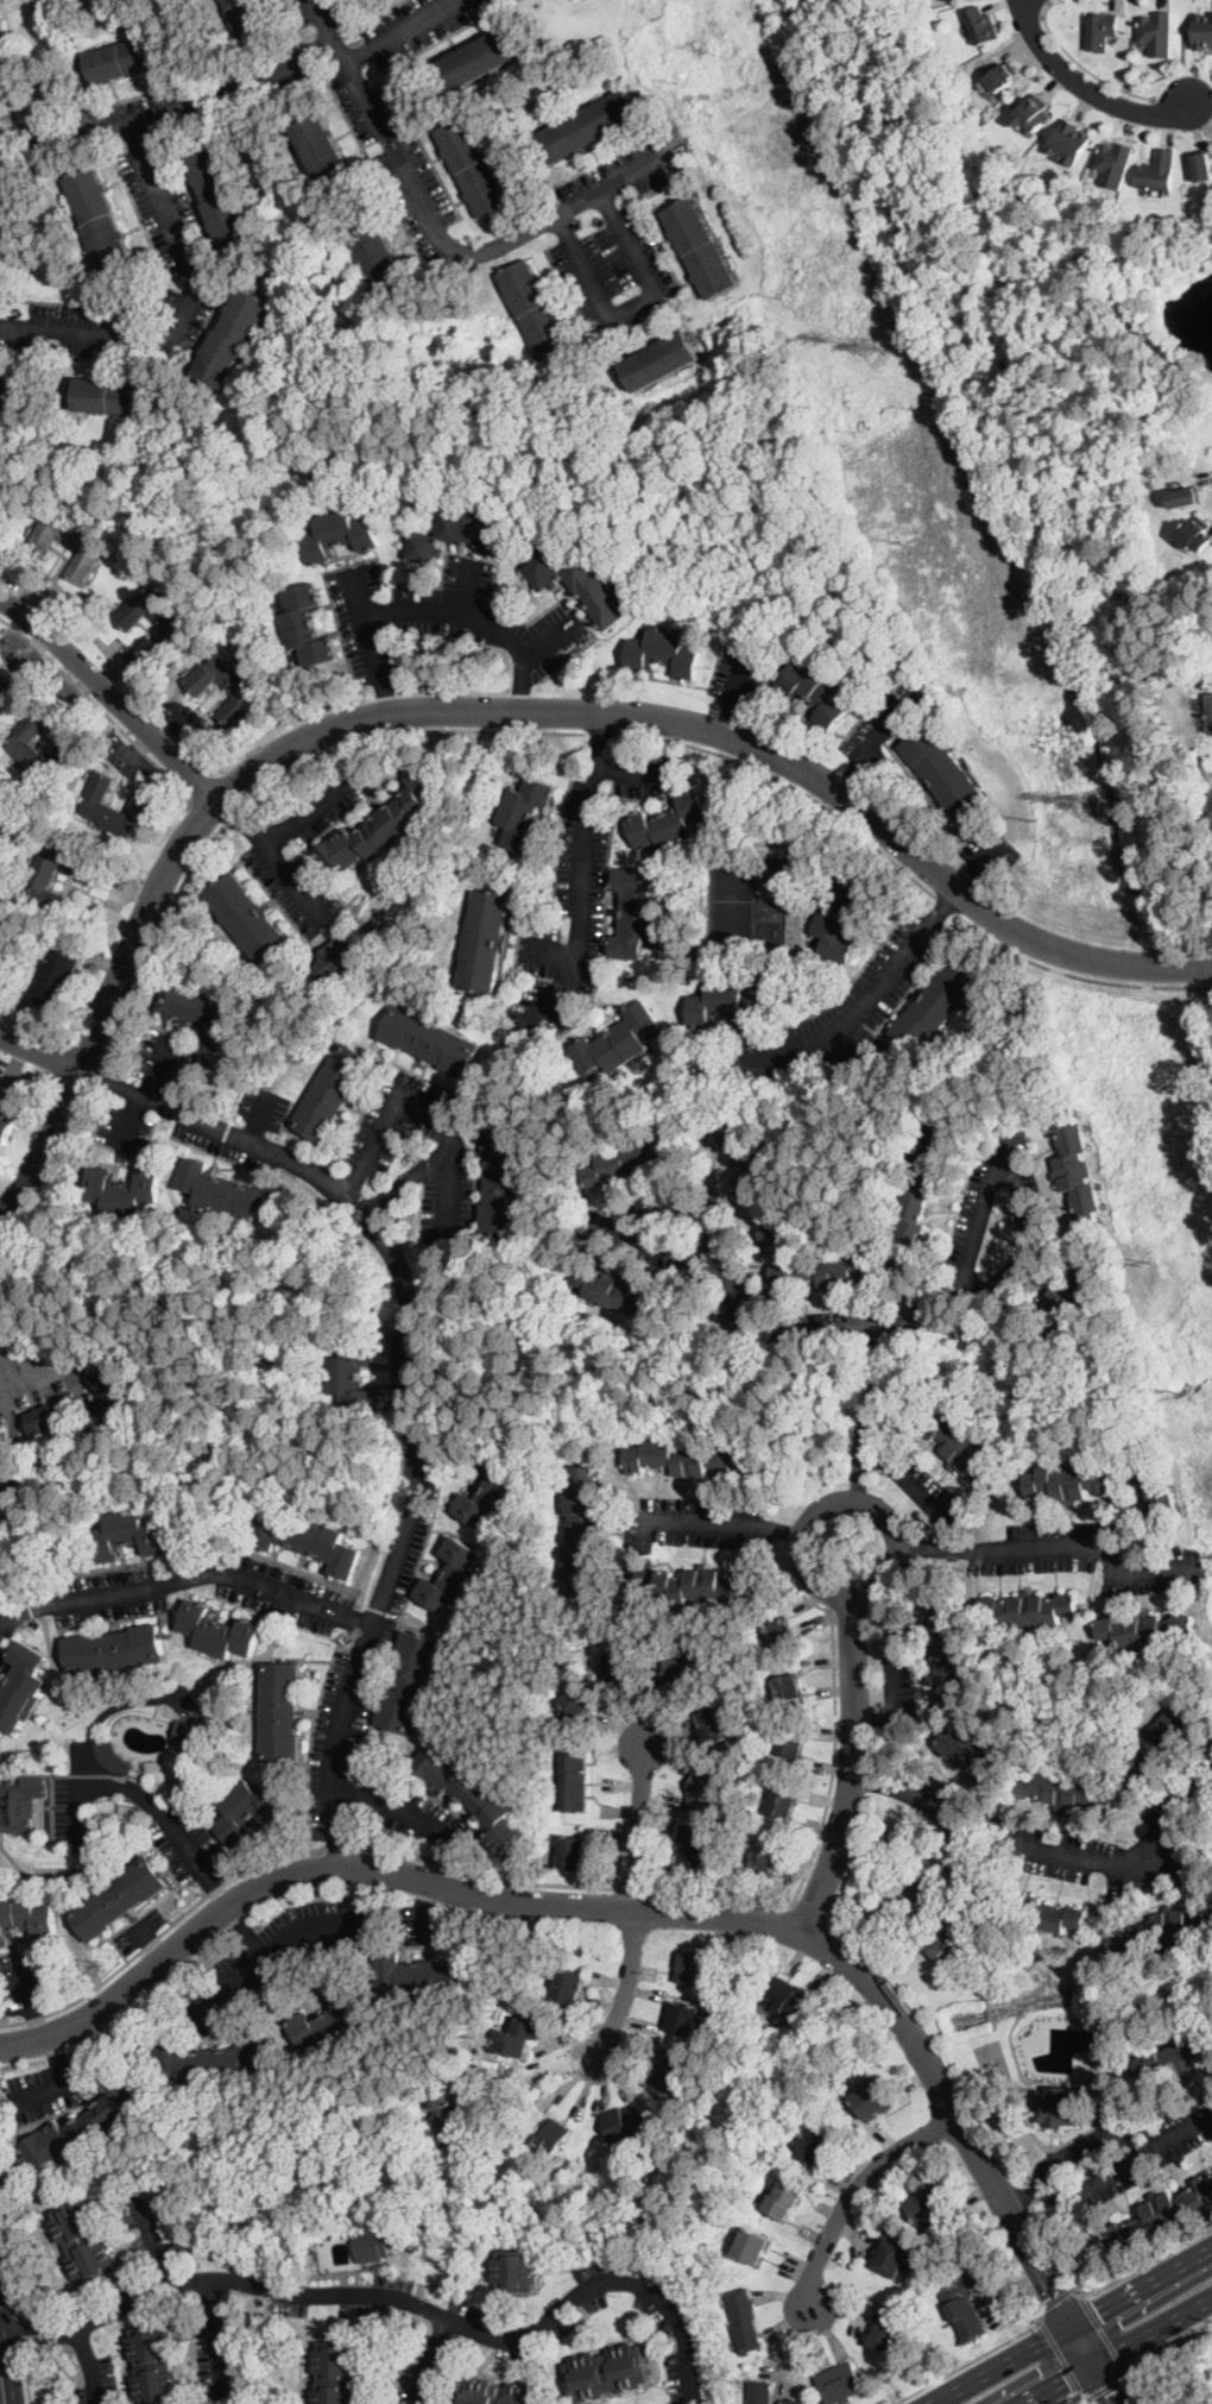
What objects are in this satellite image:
road: (1047, 4)
parking lot: (308, 11)
building: (247, 18)
parking lot: (417, 25)
building: (981, 26)
building: (1100, 32)
building: (1202, 32)
road: (405, 33)
building: (1157, 34)
building: (1, 49)
building: (480, 58)
building: (124, 59)
road: (1081, 67)
building: (1002, 77)
power tower: (680, 83)
road: (1085, 88)
road: (171, 113)
building: (1034, 115)
building: (589, 126)
building: (1071, 143)
building: (322, 146)
parking lot: (397, 158)
building: (1113, 164)
building: (1202, 166)
building: (474, 168)
parking lot: (621, 172)
building: (1159, 174)
building: (221, 196)
parking lot: (169, 215)
building: (99, 219)
road: (437, 233)
building: (700, 247)
building: (380, 256)
parking lot: (614, 273)
power tower: (785, 298)
road: (184, 303)
building: (536, 310)
road: (635, 310)
building: (233, 338)
power tower: (872, 345)
building: (662, 361)
building: (7, 389)
building: (114, 396)
power tower: (878, 498)
building: (1185, 498)
building: (2, 505)
building: (1195, 534)
building: (340, 535)
building: (461, 536)
building: (89, 548)
building: (582, 587)
road: (467, 590)
road: (362, 596)
road: (418, 615)
parking lot: (444, 619)
building: (307, 625)
building: (179, 629)
road: (548, 640)
building: (664, 653)
building: (428, 675)
parking lot: (741, 675)
road: (740, 676)
road: (522, 685)
building: (7, 690)
building: (816, 691)
road: (112, 694)
building: (244, 694)
road: (381, 701)
road: (96, 705)
road: (498, 712)
building: (1210, 712)
road: (727, 718)
parking lot: (882, 725)
road: (600, 731)
road: (870, 741)
building: (25, 751)
road: (631, 769)
building: (945, 772)
road: (267, 783)
road: (788, 785)
building: (141, 804)
road: (309, 804)
power tower: (1093, 807)
road: (206, 810)
building: (524, 812)
road: (241, 818)
building: (670, 822)
power tower: (1036, 823)
building: (381, 827)
parking lot: (989, 851)
parking lot: (261, 852)
road: (978, 867)
building: (51, 875)
road: (583, 876)
road: (295, 880)
parking lot: (580, 894)
park: (733, 899)
road: (946, 906)
building: (636, 913)
building: (840, 917)
building: (250, 921)
building: (0, 940)
building: (487, 940)
road: (553, 954)
building: (6, 964)
building: (333, 964)
building: (56, 973)
road: (1078, 975)
road: (873, 993)
building: (726, 1005)
building: (935, 1007)
parking lot: (838, 1018)
building: (202, 1024)
building: (430, 1040)
building: (618, 1043)
road: (850, 1043)
road: (40, 1055)
road: (99, 1078)
building: (333, 1091)
building: (0, 1095)
road: (147, 1095)
parking lot: (189, 1108)
road: (442, 1115)
road: (259, 1116)
building: (6, 1124)
parking lot: (417, 1154)
building: (631, 1160)
building: (1077, 1170)
road: (55, 1175)
building: (504, 1182)
road: (408, 1184)
road: (351, 1185)
building: (756, 1185)
building: (923, 1187)
building: (124, 1190)
building: (231, 1191)
road: (697, 1206)
parking lot: (972, 1214)
parking lot: (678, 1236)
power tower: (1143, 1260)
building: (838, 1270)
road: (981, 1285)
building: (1077, 1285)
building: (616, 1292)
parking lot: (840, 1324)
road: (897, 1334)
parking lot: (410, 1370)
road: (5, 1371)
building: (354, 1376)
road: (416, 1379)
building: (114, 1393)
building: (53, 1416)
road: (869, 1416)
road: (872, 1452)
building: (966, 1452)
building: (692, 1459)
building: (1069, 1483)
parking lot: (920, 1485)
building: (492, 1492)
road: (845, 1499)
road: (924, 1499)
building: (1160, 1503)
road: (676, 1524)
road: (795, 1530)
parking lot: (687, 1531)
building: (581, 1533)
building: (130, 1535)
building: (309, 1540)
road: (1050, 1549)
parking lot: (1084, 1556)
building: (454, 1577)
road: (187, 1578)
building: (705, 1586)
parking lot: (286, 1594)
building: (27, 1596)
parking lot: (93, 1598)
building: (1029, 1610)
building: (1147, 1630)
building: (220, 1631)
building: (779, 1632)
building: (114, 1650)
parking lot: (2, 1656)
building: (951, 1659)
parking lot: (366, 1663)
road: (892, 1666)
building: (623, 1667)
parking lot: (897, 1669)
building: (680, 1673)
building: (410, 1682)
building: (21, 1687)
building: (787, 1687)
building: (581, 1700)
road: (115, 1708)
building: (280, 1712)
road: (876, 1717)
building: (717, 1724)
building: (185, 1735)
building: (1161, 1742)
building: (790, 1744)
building: (970, 1756)
road: (852, 1773)
building: (575, 1780)
road: (876, 1785)
building: (706, 1787)
road: (831, 1788)
road: (132, 1792)
building: (1066, 1792)
building: (469, 1795)
building: (21, 1802)
building: (781, 1805)
road: (398, 1808)
parking lot: (70, 1810)
building: (248, 1810)
parking lot: (419, 1815)
road: (640, 1827)
parking lot: (1062, 1840)
parking lot: (187, 1844)
road: (336, 1846)
building: (690, 1846)
building: (573, 1854)
road: (1068, 1854)
building: (763, 1861)
road: (942, 1868)
road: (487, 1875)
building: (877, 1887)
road: (217, 1893)
building: (119, 1898)
road: (424, 1908)
road: (612, 1909)
building: (1053, 1915)
building: (26, 1919)
parking lot: (427, 1925)
parking lot: (140, 1930)
road: (245, 1930)
road: (159, 1931)
building: (1160, 1931)
building: (957, 1933)
road: (272, 1947)
parking lot: (274, 1953)
building: (695, 1969)
building: (431, 1971)
parking lot: (25, 1982)
building: (81, 1985)
road: (626, 1985)
building: (567, 1987)
road: (29, 2000)
building: (790, 2000)
building: (684, 2019)
building: (328, 2021)
building: (1110, 2033)
building: (516, 2038)
road: (55, 2047)
building: (991, 2059)
building: (1175, 2059)
building: (212, 2062)
road: (536, 2075)
building: (671, 2075)
road: (49, 2084)
parking lot: (44, 2089)
building: (871, 2100)
building: (1059, 2108)
building: (447, 2114)
building: (629, 2122)
building: (86, 2126)
building: (542, 2133)
road: (1096, 2135)
building: (819, 2146)
road: (1142, 2152)
parking lot: (1117, 2154)
road: (1039, 2177)
road: (1041, 2188)
road: (856, 2190)
building: (783, 2201)
building: (928, 2207)
building: (1160, 2216)
parking lot: (147, 2226)
building: (84, 2242)
building: (374, 2243)
road: (158, 2245)
road: (8, 2246)
building: (752, 2246)
building: (891, 2255)
road: (1141, 2264)
building: (517, 2271)
traffic signals: (1056, 2292)
road: (1056, 2296)
parking lot: (122, 2297)
parking lot: (379, 2303)
building: (964, 2307)
road: (1141, 2308)
traffic signals: (1096, 2309)
road: (436, 2312)
building: (745, 2321)
traffic signals: (1121, 2321)
road: (38, 2324)
road: (1068, 2324)
road: (1100, 2329)
building: (888, 2331)
parking lot: (534, 2333)
road: (21, 2339)
road: (217, 2339)
road: (1162, 2342)
road: (40, 2343)
road: (6, 2348)
road: (1060, 2354)
road: (1121, 2354)
road: (971, 2358)
road: (427, 2359)
road: (1091, 2362)
road: (90, 2364)
building: (154, 2365)
parking lot: (215, 2366)
traffic signals: (1041, 2371)
road: (1037, 2372)
building: (335, 2373)
building: (608, 2373)
parking lot: (423, 2378)
road: (27, 2383)
parking lot: (95, 2383)
building: (840, 2383)
traffic signals: (1068, 2384)
road: (1104, 2385)
road: (6, 2387)
building: (759, 2392)
road: (1074, 2392)
building: (498, 2393)
traffic signals: (1107, 2393)
building: (791, 2402)

